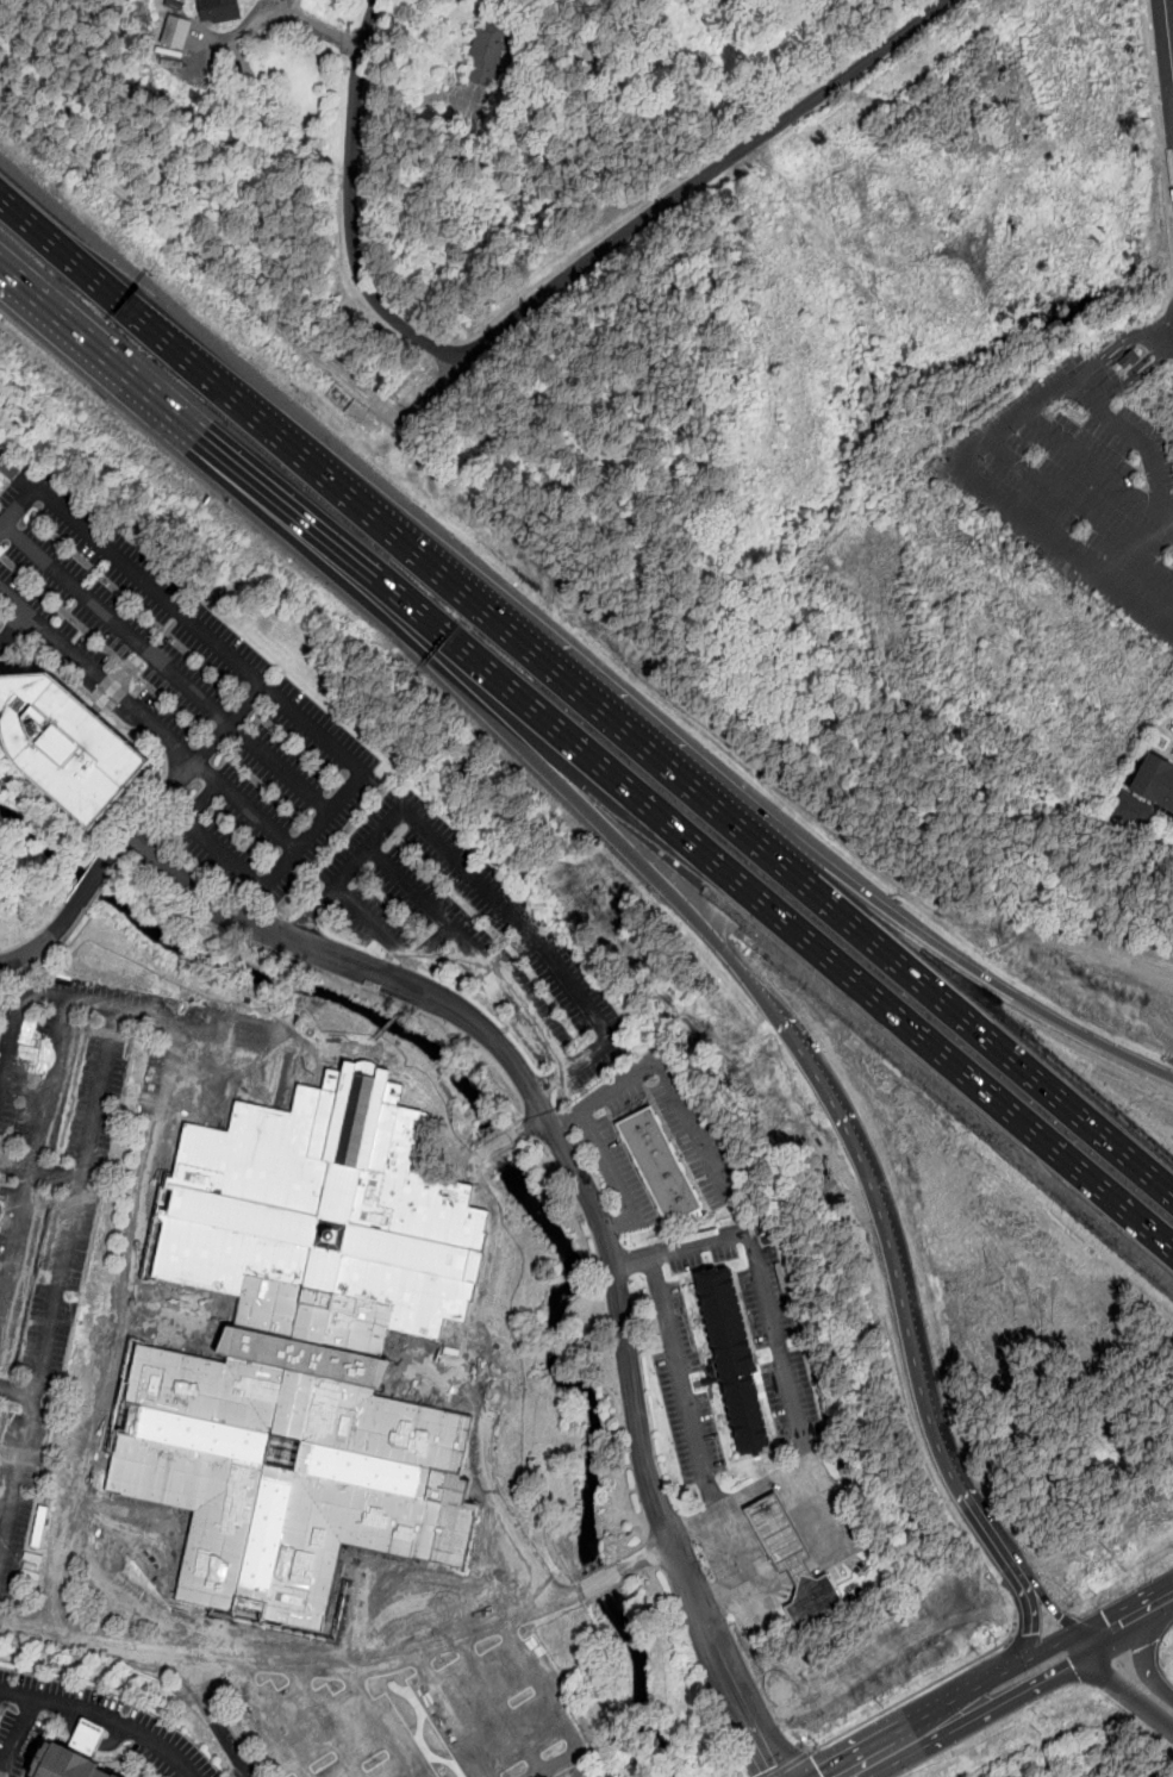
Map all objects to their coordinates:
building: (219, 11)
road: (308, 18)
building: (176, 32)
road: (1169, 32)
building: (489, 50)
road: (1163, 95)
road: (1159, 142)
road: (532, 300)
road: (168, 331)
road: (1113, 348)
road: (1133, 379)
road: (968, 451)
road: (1093, 464)
road: (17, 470)
parking lot: (1078, 485)
road: (1079, 509)
road: (14, 629)
road: (205, 634)
road: (573, 680)
road: (186, 681)
parking lot: (183, 690)
parking lot: (1171, 725)
building: (71, 742)
road: (332, 744)
parking lot: (1172, 754)
road: (582, 762)
road: (226, 786)
building: (1144, 793)
building: (1172, 816)
road: (416, 822)
road: (118, 847)
road: (93, 883)
road: (311, 914)
parking lot: (472, 931)
road: (42, 942)
road: (743, 977)
road: (987, 981)
road: (513, 992)
road: (403, 1008)
road: (182, 1023)
road: (988, 1034)
parking lot: (117, 1064)
road: (665, 1068)
road: (168, 1071)
parking lot: (681, 1126)
road: (32, 1149)
road: (568, 1161)
building: (656, 1164)
road: (40, 1168)
parking lot: (619, 1173)
road: (612, 1177)
road: (76, 1201)
road: (757, 1276)
parking lot: (761, 1321)
parking lot: (32, 1345)
building: (307, 1349)
building: (731, 1358)
road: (104, 1372)
road: (684, 1385)
road: (18, 1388)
parking lot: (685, 1389)
road: (482, 1446)
road: (803, 1461)
road: (18, 1474)
road: (770, 1486)
road: (985, 1530)
road: (653, 1551)
road: (823, 1555)
building: (792, 1563)
road: (798, 1572)
road: (609, 1576)
road: (745, 1600)
road: (1160, 1600)
road: (1048, 1603)
road: (1117, 1623)
road: (1030, 1625)
traffic signals: (1029, 1635)
traffic signals: (1086, 1641)
road: (294, 1670)
road: (1125, 1685)
road: (997, 1689)
road: (915, 1695)
parking lot: (413, 1704)
road: (501, 1707)
road: (556, 1710)
road: (104, 1716)
road: (451, 1717)
road: (217, 1720)
road: (270, 1721)
parking lot: (133, 1722)
road: (329, 1723)
road: (378, 1725)
road: (15, 1734)
road: (759, 1739)
building: (76, 1754)
road: (872, 1757)
road: (793, 1763)

